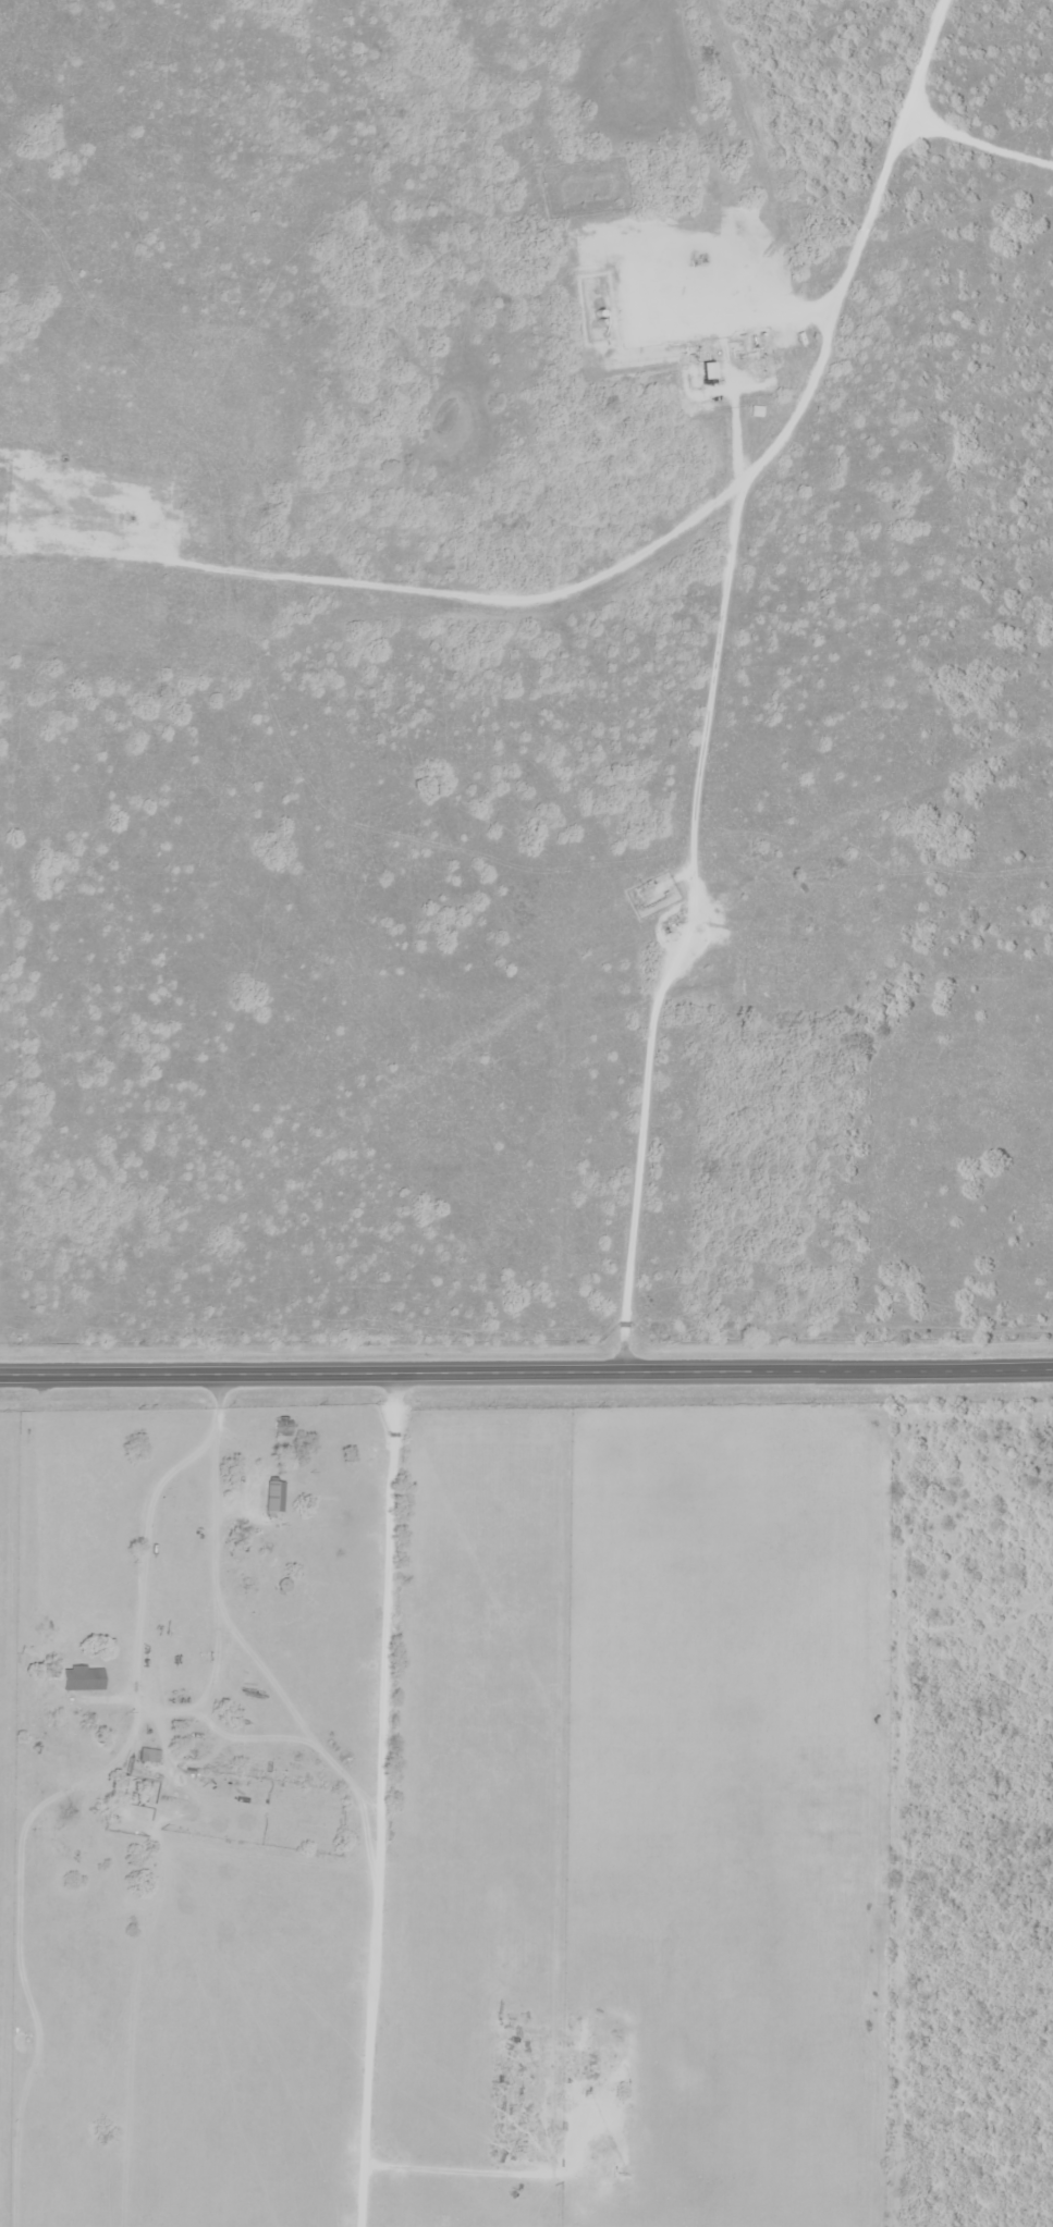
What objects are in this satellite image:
road: (897, 136)
road: (576, 590)
road: (681, 937)
road: (526, 1385)
building: (282, 1424)
building: (273, 1496)
road: (157, 1534)
building: (82, 1677)
building: (147, 1756)
road: (359, 1807)

